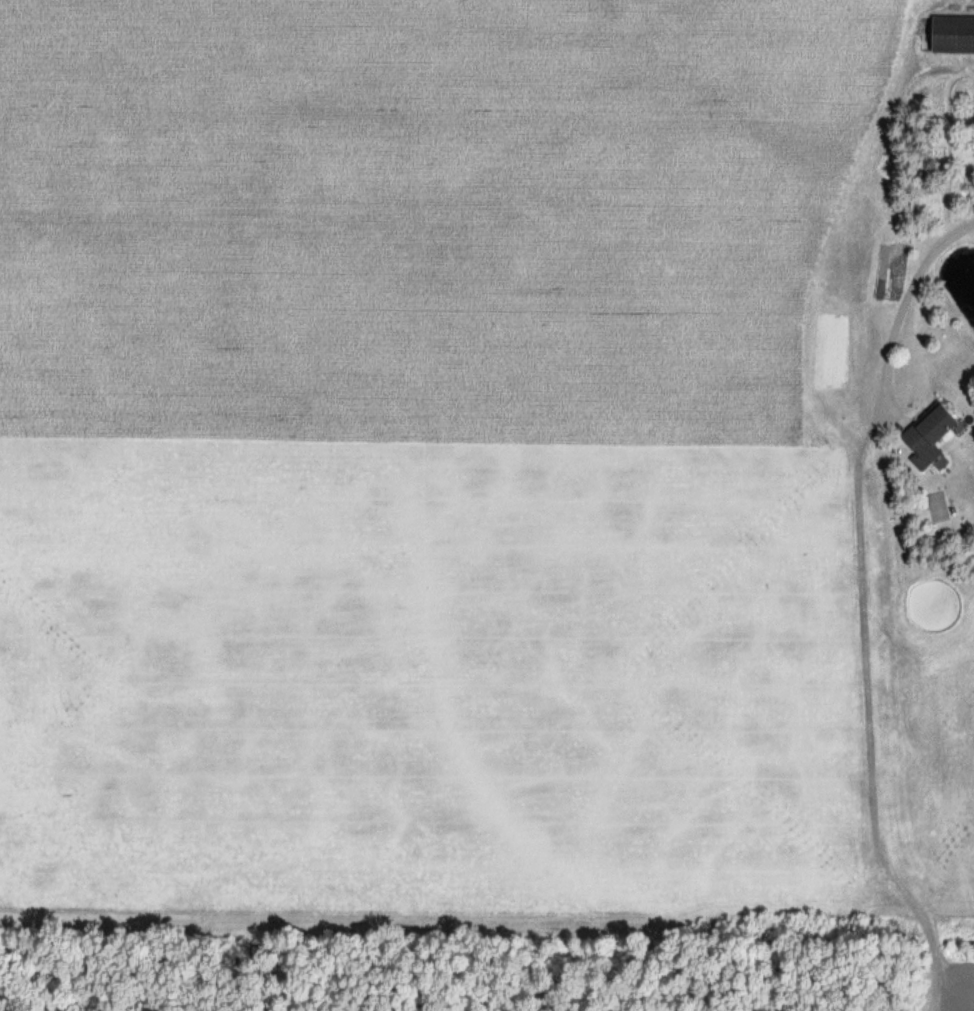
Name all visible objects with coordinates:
building: (956, 33)
road: (899, 305)
building: (935, 434)

